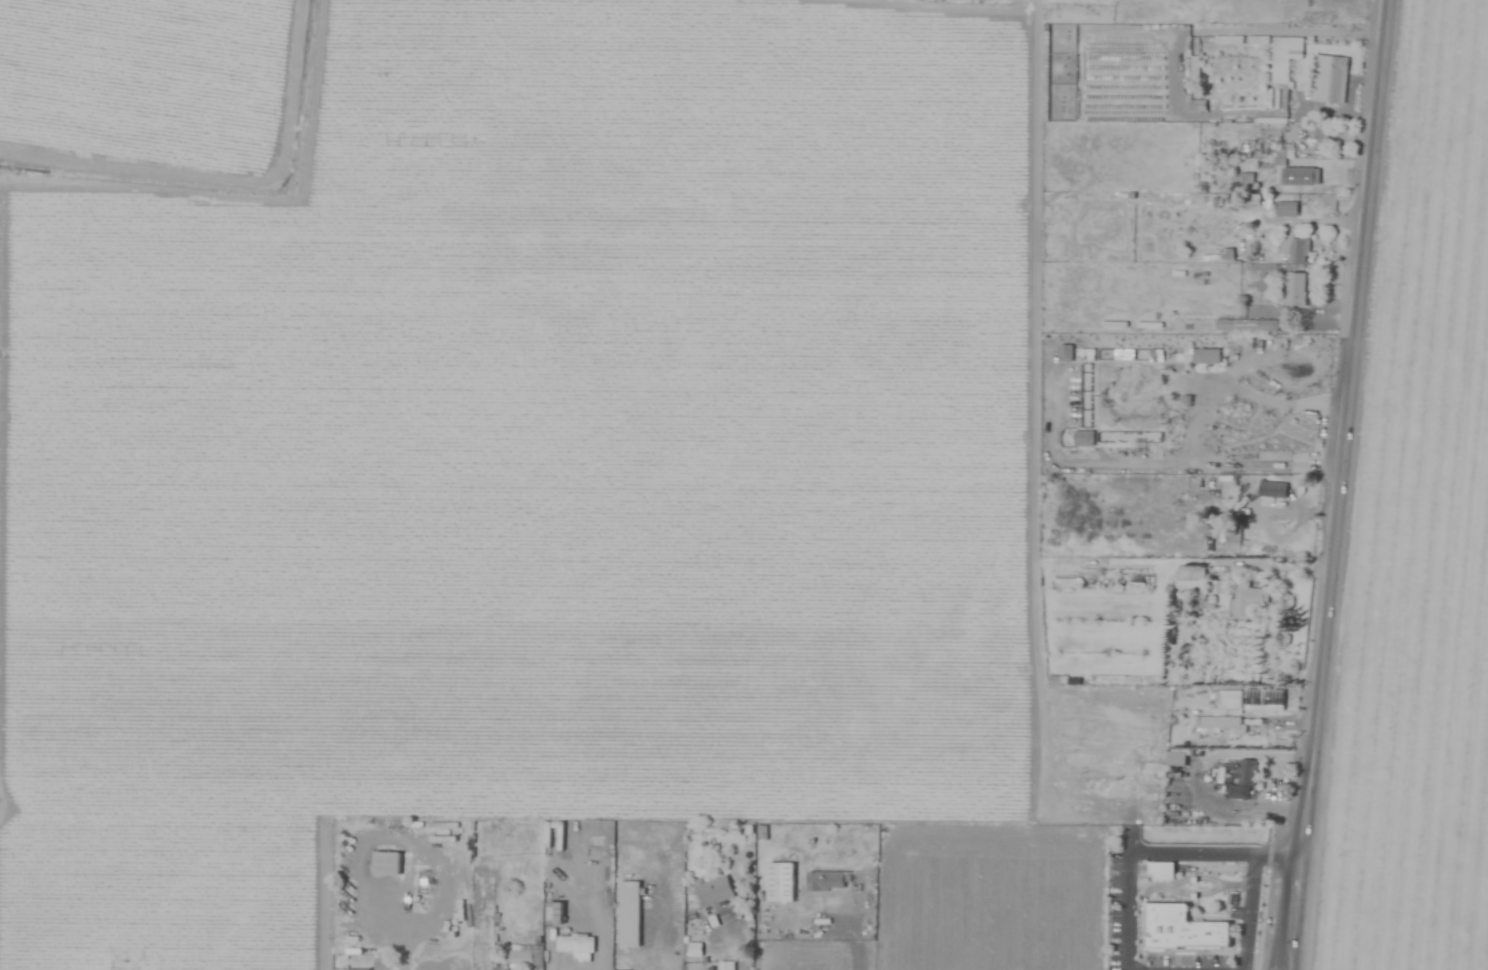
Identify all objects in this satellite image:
road: (1299, 15)
building: (1284, 57)
building: (1195, 68)
building: (1328, 79)
building: (1280, 157)
building: (1237, 184)
building: (1204, 189)
building: (1325, 205)
building: (1286, 209)
building: (1294, 250)
building: (1295, 290)
building: (1205, 356)
building: (1084, 439)
road: (1342, 484)
crop: (744, 485)
building: (1272, 490)
building: (1191, 580)
building: (1248, 599)
building: (1230, 700)
building: (1264, 700)
building: (1244, 780)
road: (1157, 846)
building: (385, 864)
building: (1164, 866)
building: (826, 881)
building: (780, 883)
building: (714, 893)
road: (650, 908)
building: (554, 913)
building: (629, 914)
building: (1183, 925)
road: (855, 937)
building: (577, 947)
building: (526, 955)
building: (726, 966)

